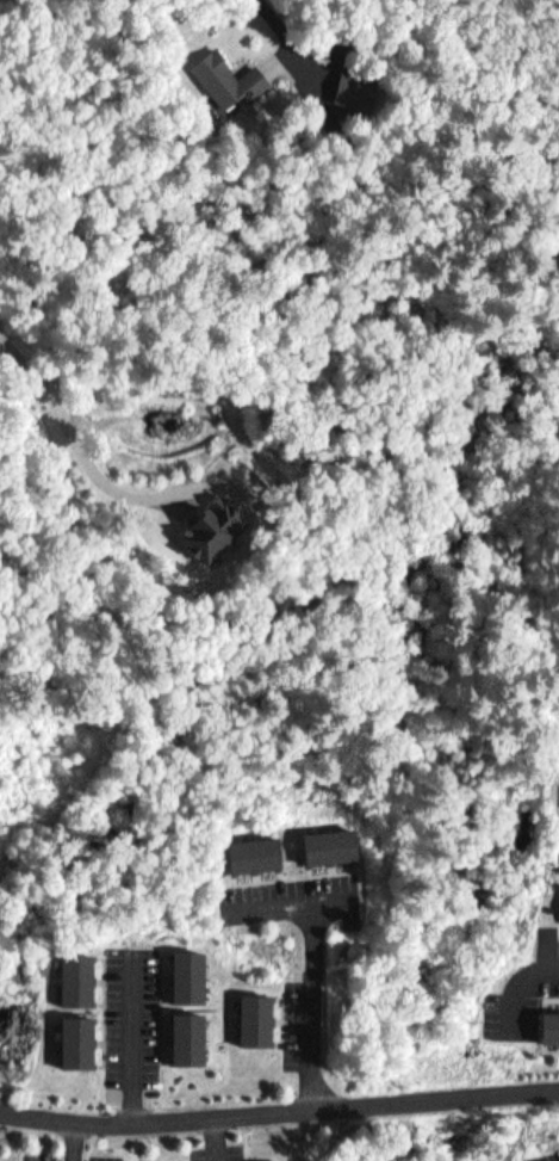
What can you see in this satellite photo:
building: (224, 73)
building: (347, 82)
road: (91, 456)
building: (213, 525)
building: (324, 839)
building: (250, 848)
parking lot: (288, 893)
road: (292, 897)
building: (182, 969)
building: (74, 975)
road: (521, 981)
parking lot: (521, 988)
road: (313, 1001)
parking lot: (133, 1009)
building: (255, 1014)
parking lot: (292, 1018)
building: (549, 1019)
building: (182, 1031)
road: (133, 1032)
building: (73, 1033)
road: (279, 1108)
road: (216, 1137)
road: (76, 1138)
parking lot: (221, 1149)
parking lot: (73, 1153)
building: (273, 1160)

